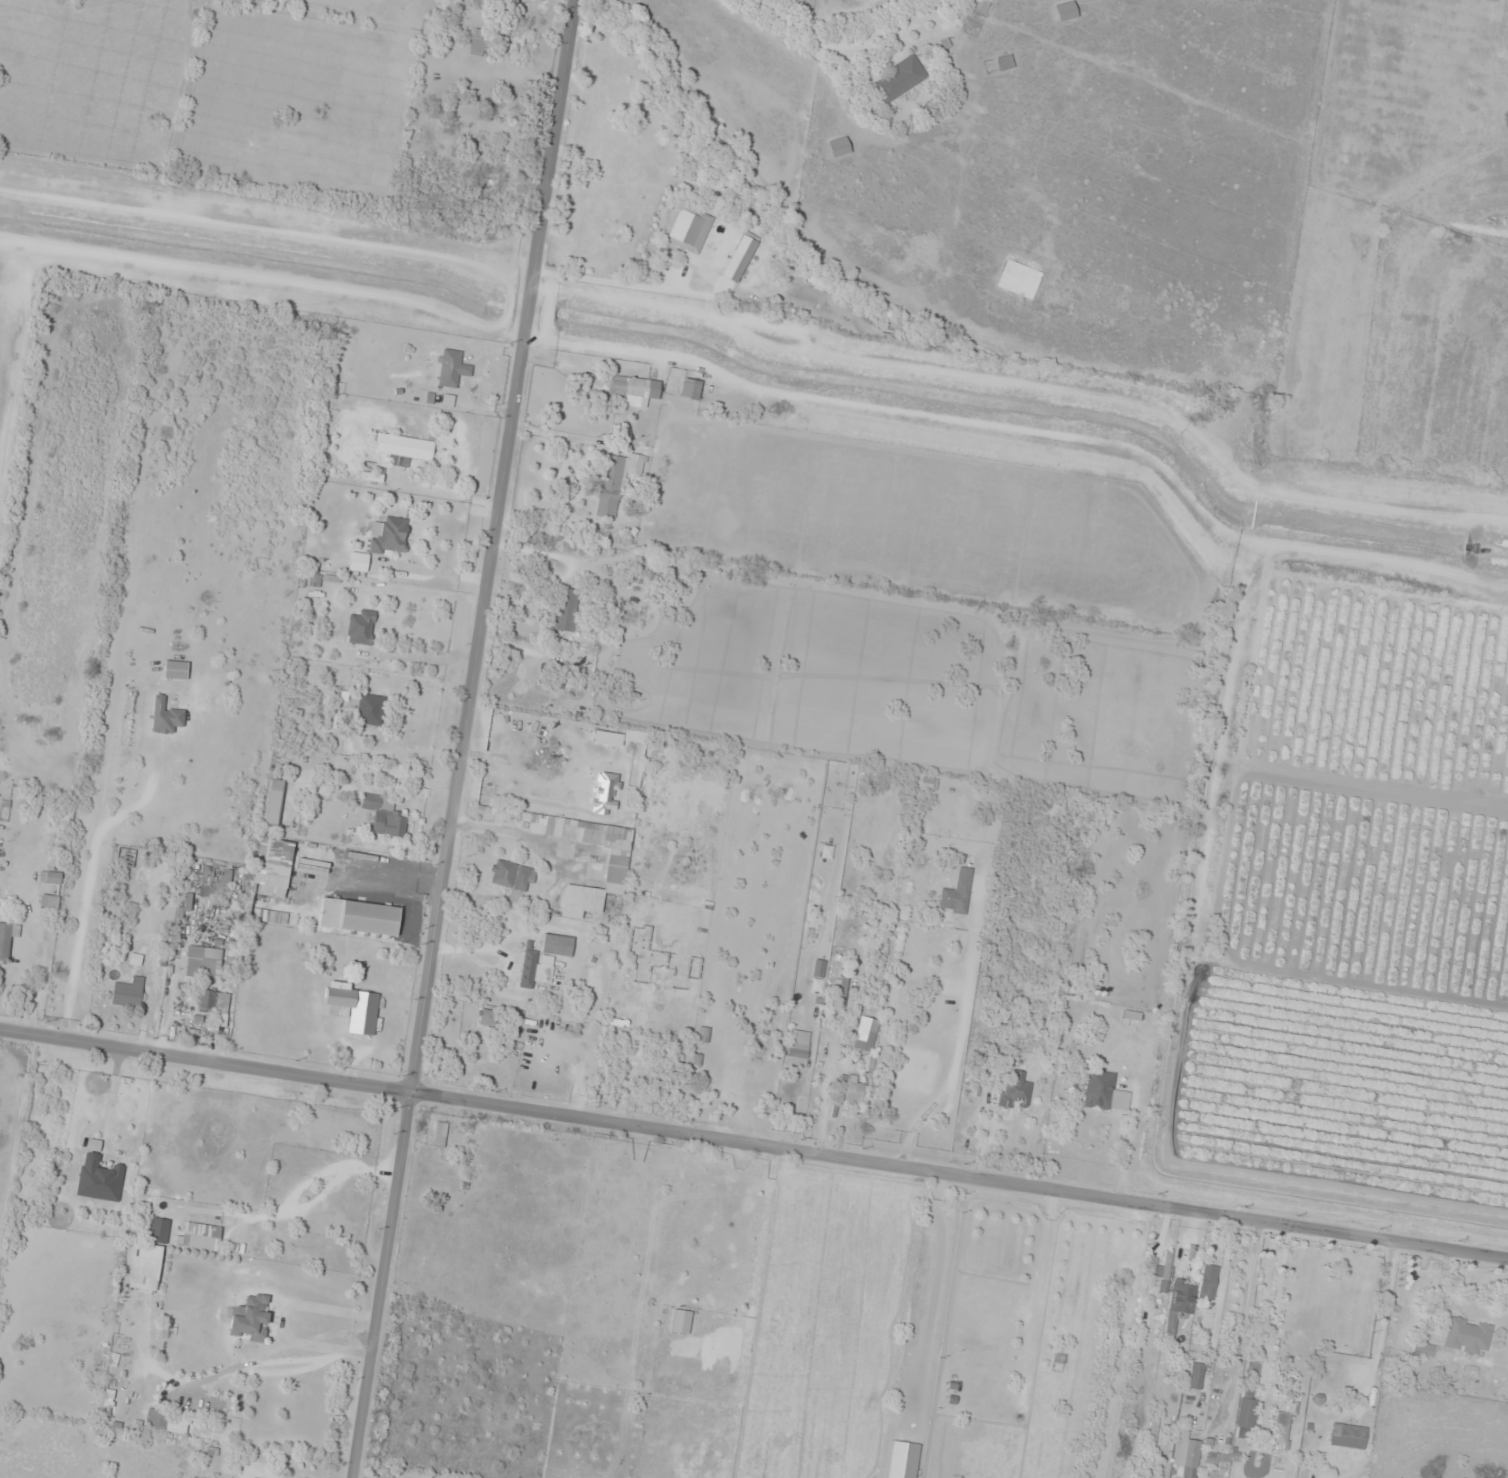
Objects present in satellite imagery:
building: (1066, 11)
building: (478, 43)
building: (1005, 62)
building: (900, 79)
building: (839, 146)
road: (695, 226)
building: (687, 227)
building: (1019, 279)
building: (453, 369)
building: (632, 389)
building: (690, 389)
building: (404, 448)
building: (371, 476)
building: (616, 481)
building: (389, 536)
building: (315, 580)
building: (566, 610)
building: (361, 628)
building: (175, 670)
building: (370, 709)
building: (165, 716)
road: (461, 739)
building: (274, 803)
building: (384, 816)
building: (125, 858)
building: (273, 863)
building: (616, 864)
building: (512, 876)
building: (50, 877)
building: (214, 882)
building: (957, 893)
building: (49, 901)
building: (368, 918)
building: (5, 941)
building: (557, 945)
building: (203, 962)
building: (841, 990)
building: (128, 993)
building: (210, 1000)
building: (356, 1008)
building: (487, 1018)
building: (829, 1021)
building: (865, 1040)
building: (798, 1048)
building: (822, 1052)
building: (868, 1063)
building: (716, 1065)
building: (1099, 1089)
building: (853, 1092)
building: (1015, 1092)
road: (1376, 1115)
road: (753, 1145)
building: (98, 1179)
building: (457, 1190)
building: (159, 1230)
building: (200, 1236)
building: (145, 1267)
building: (1208, 1282)
building: (1179, 1305)
building: (250, 1318)
road: (1074, 1337)
building: (1468, 1337)
building: (1195, 1376)
building: (1246, 1418)
building: (166, 1422)
building: (1283, 1428)
building: (1348, 1436)
building: (1189, 1459)
building: (1217, 1459)
building: (251, 1477)

